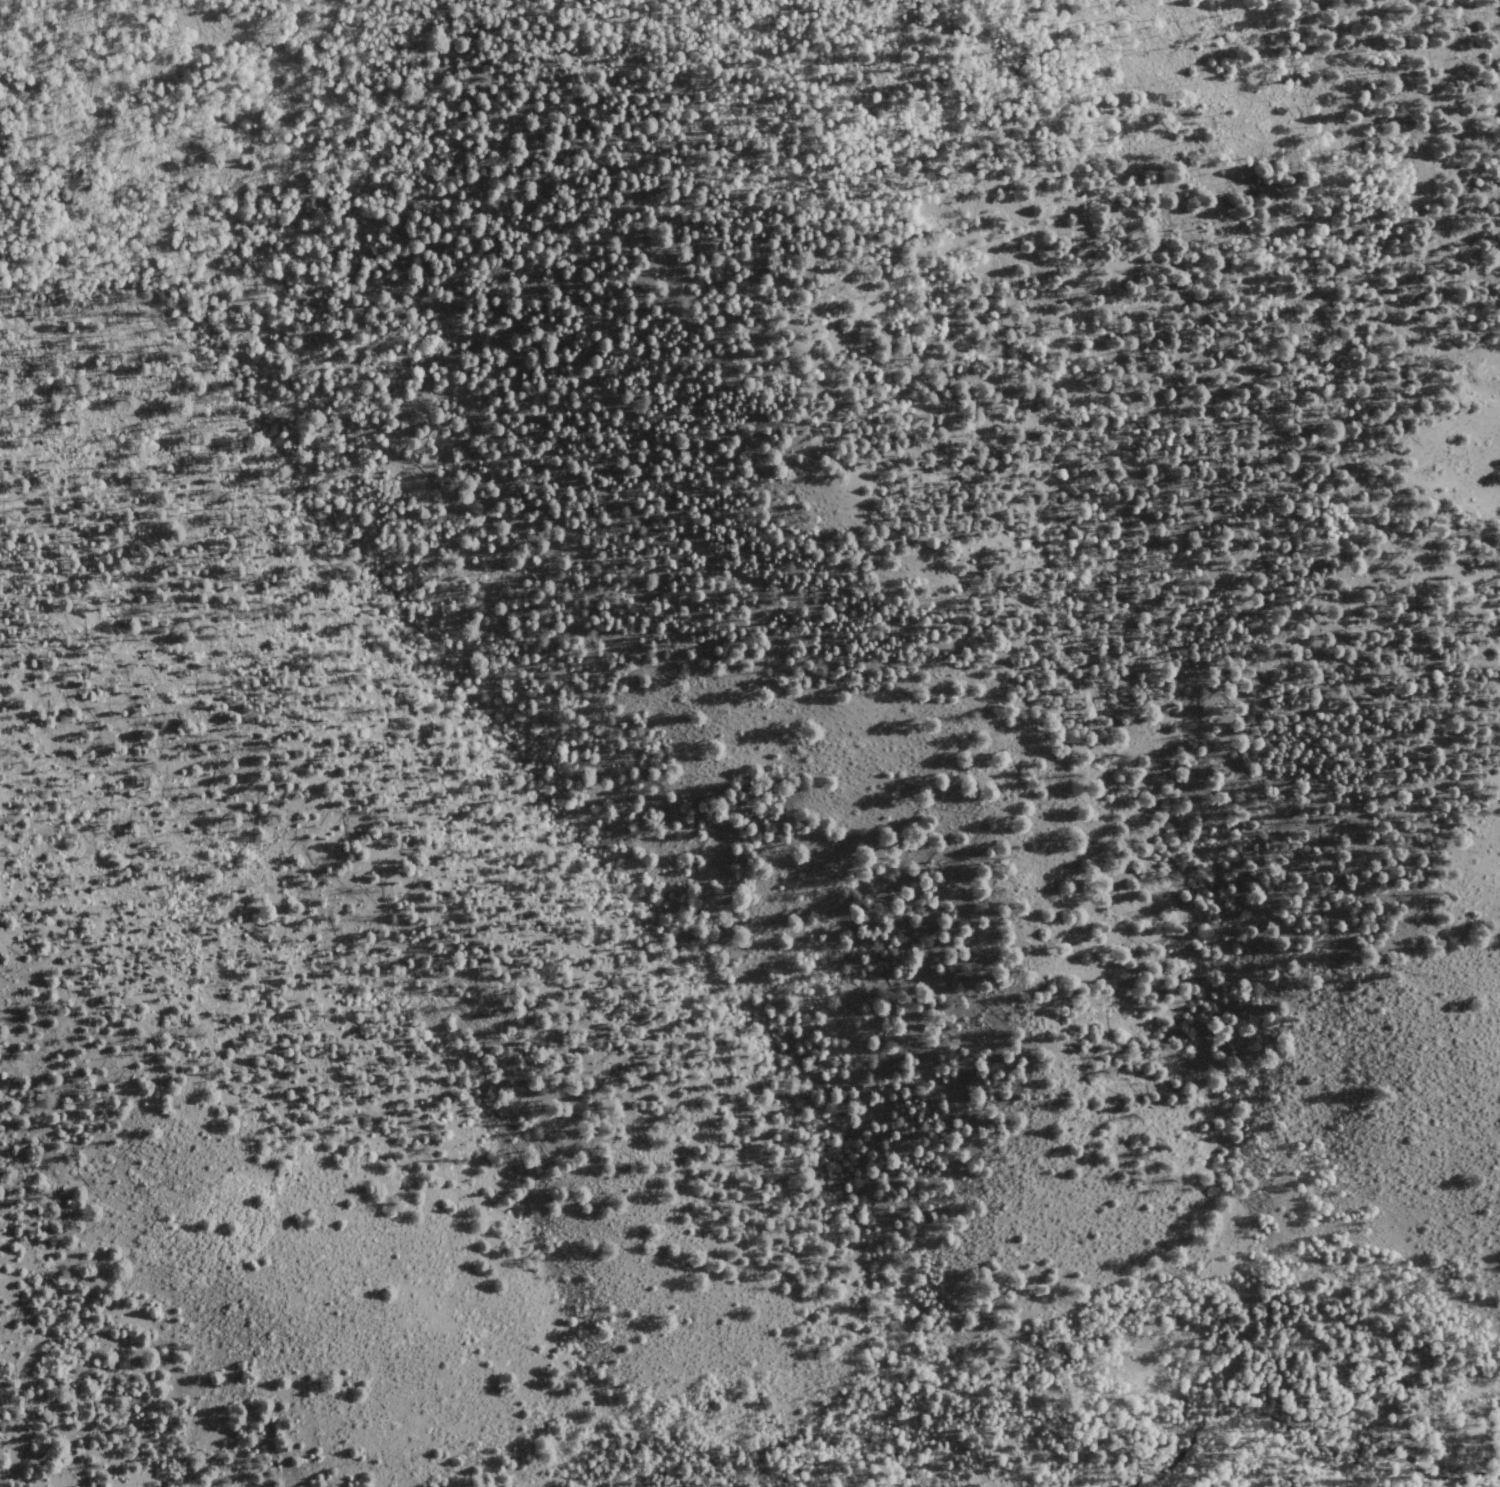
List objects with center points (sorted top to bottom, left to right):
road: (1422, 1473)

